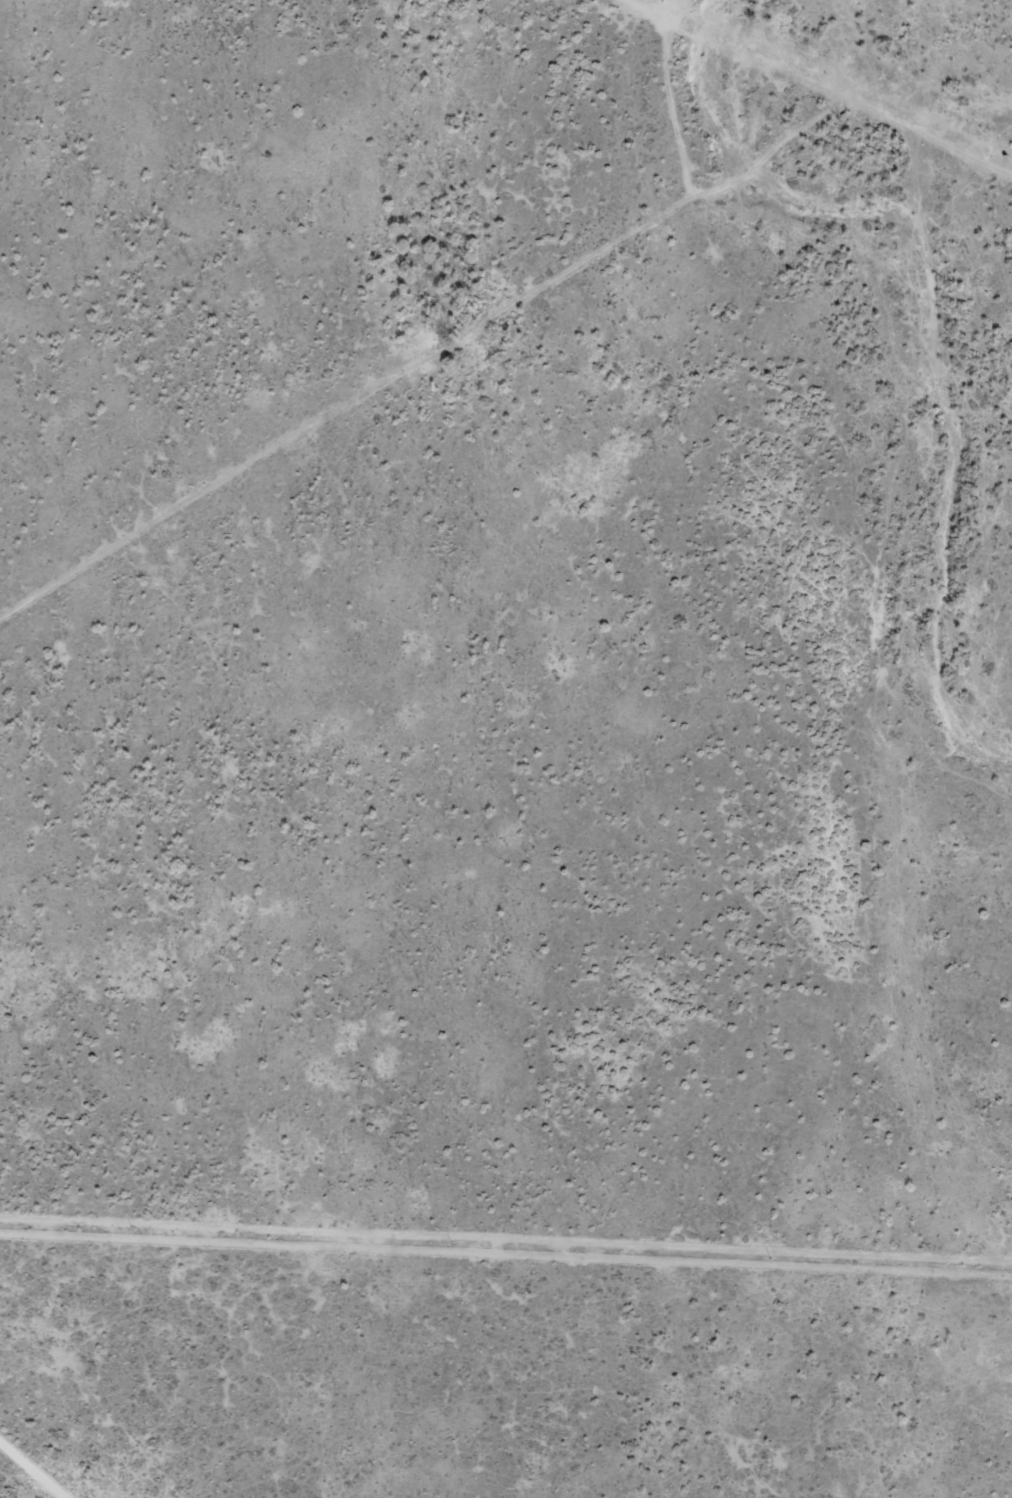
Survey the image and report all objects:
road: (32, 1470)

